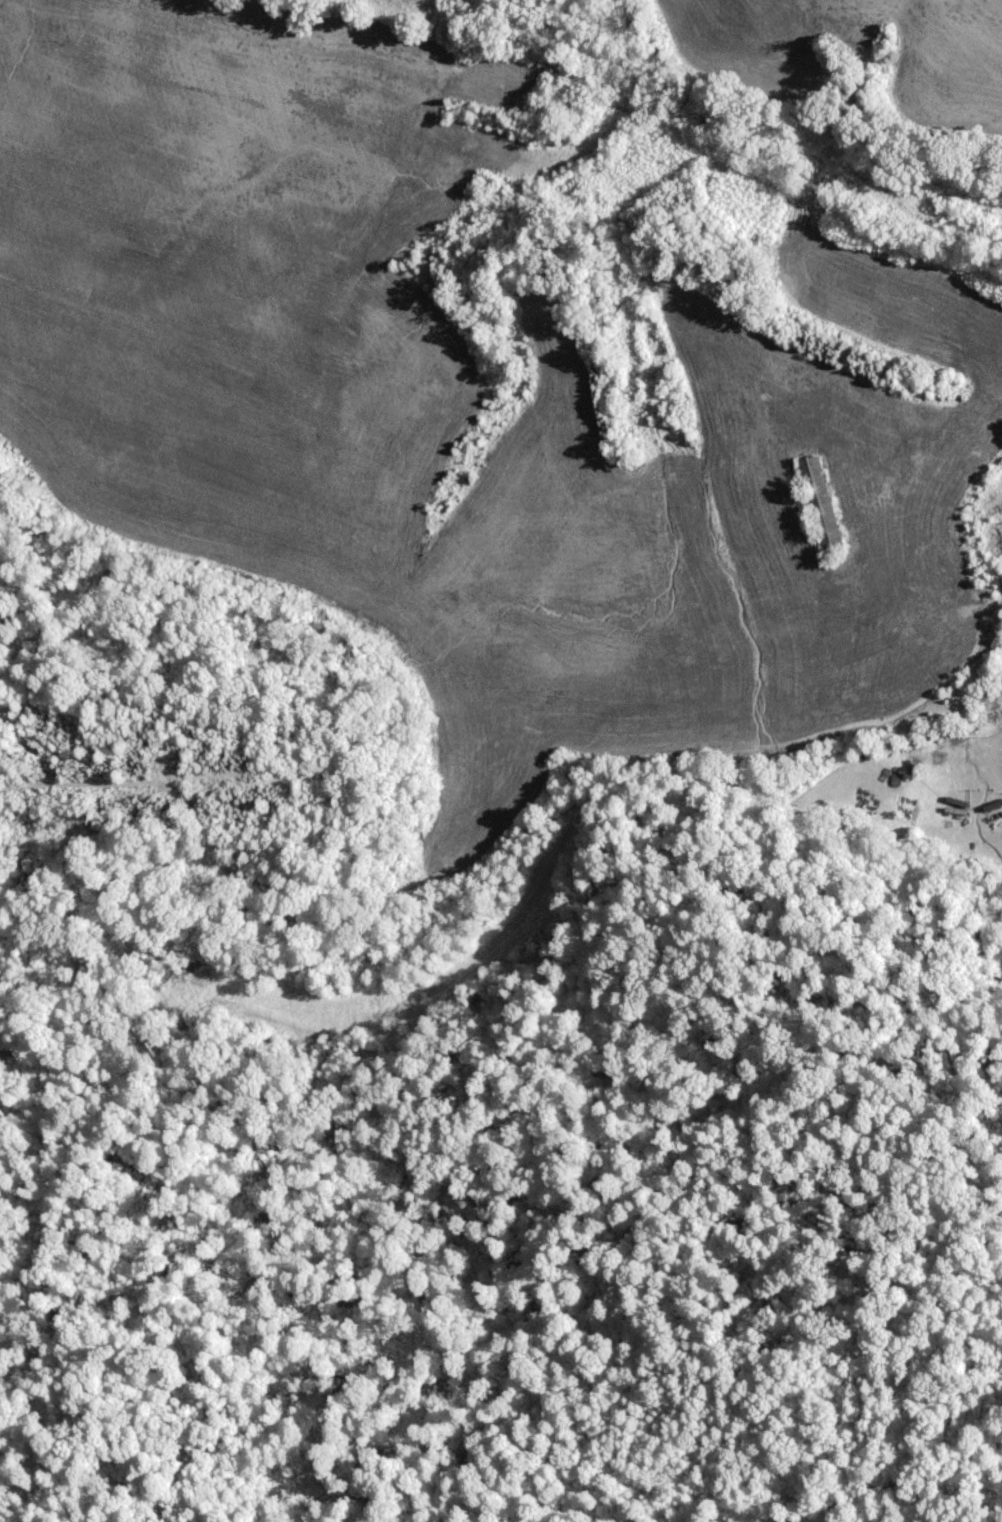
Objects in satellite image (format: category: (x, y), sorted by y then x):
building: (816, 504)

